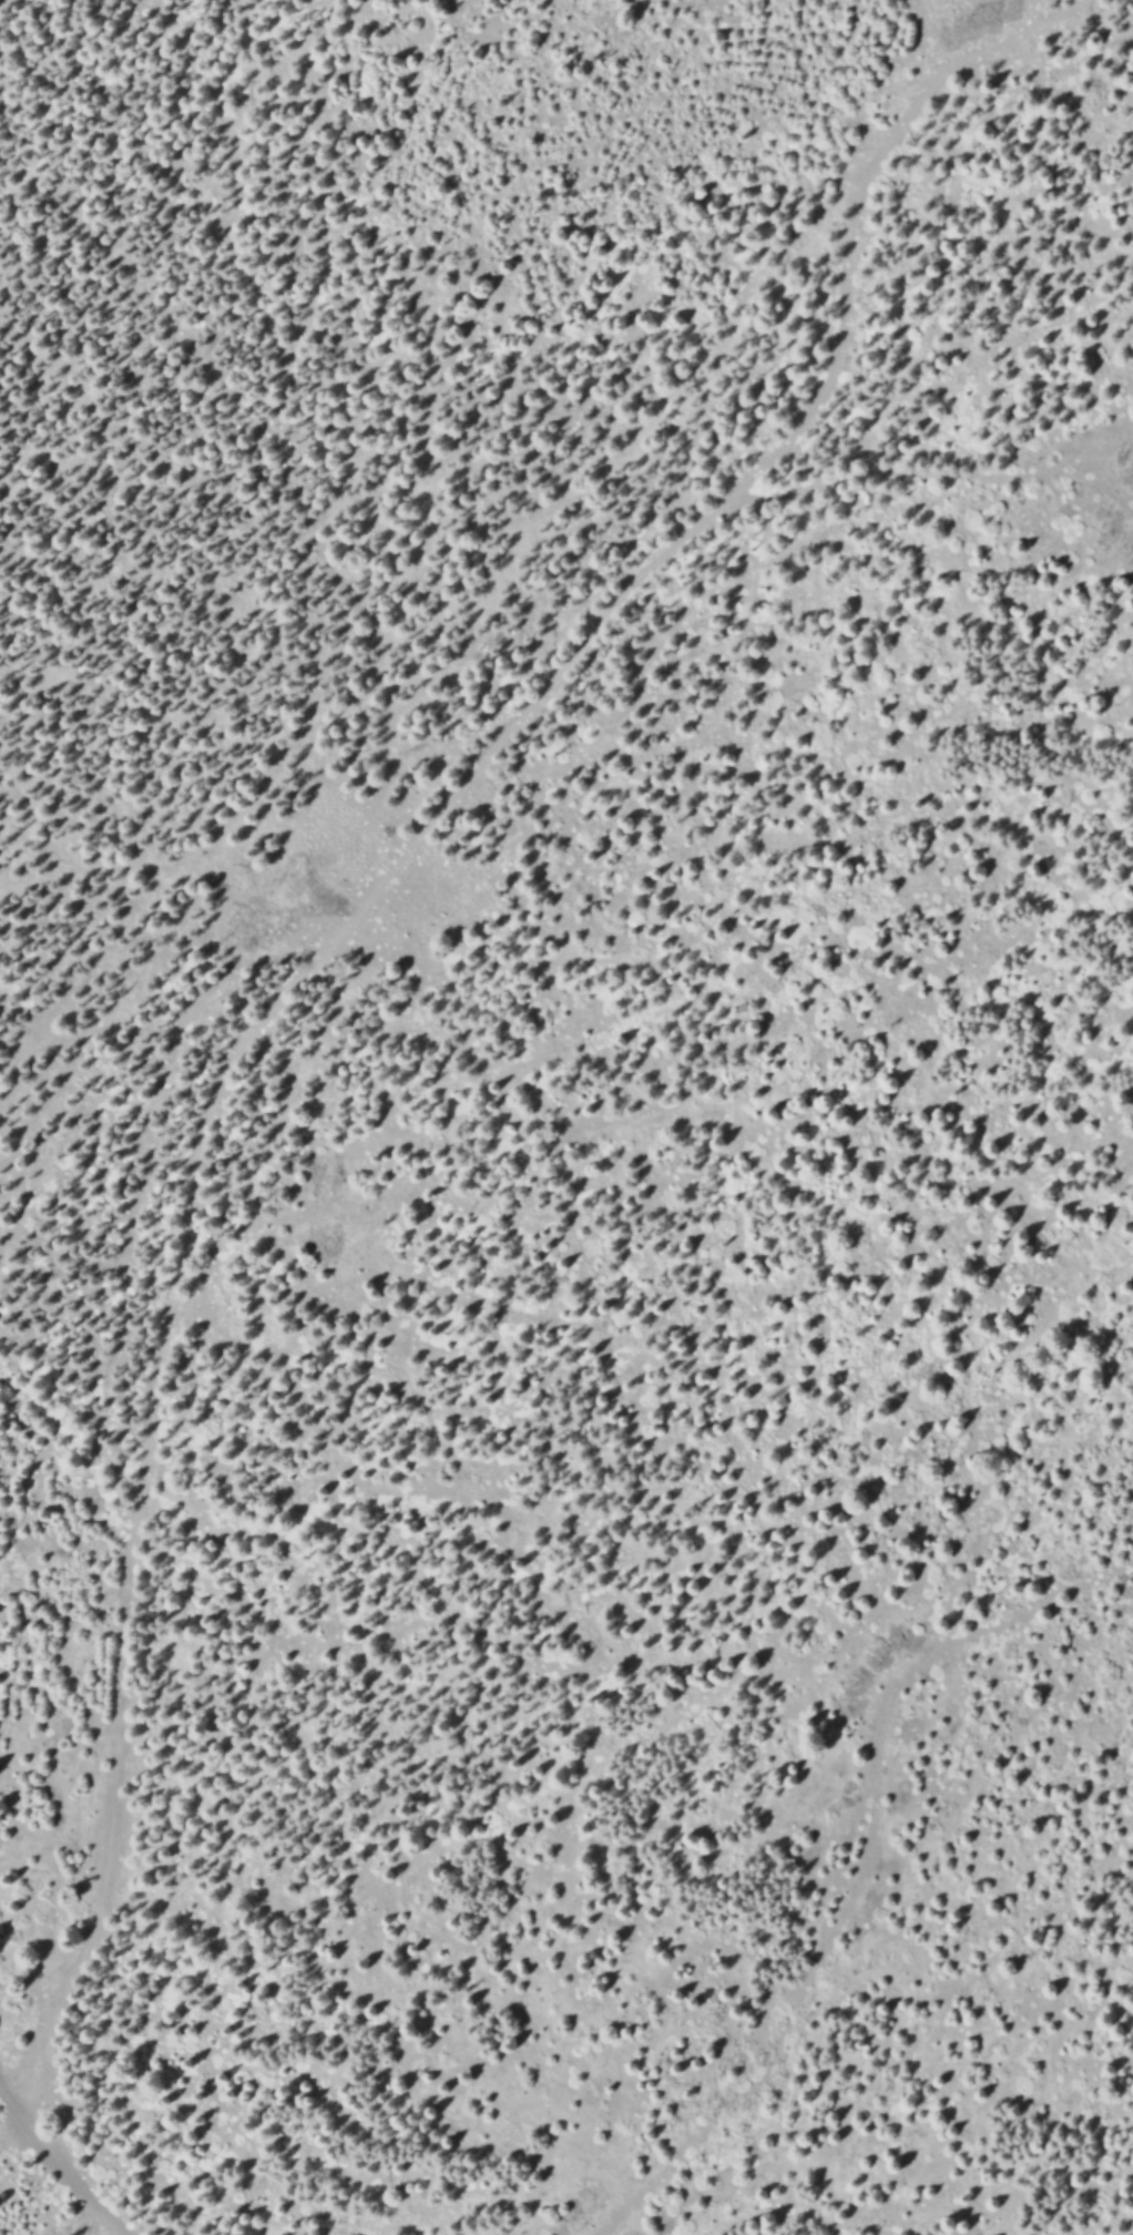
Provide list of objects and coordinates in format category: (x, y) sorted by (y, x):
road: (928, 473)
road: (518, 717)
road: (116, 1841)
road: (858, 1867)
road: (60, 2167)

